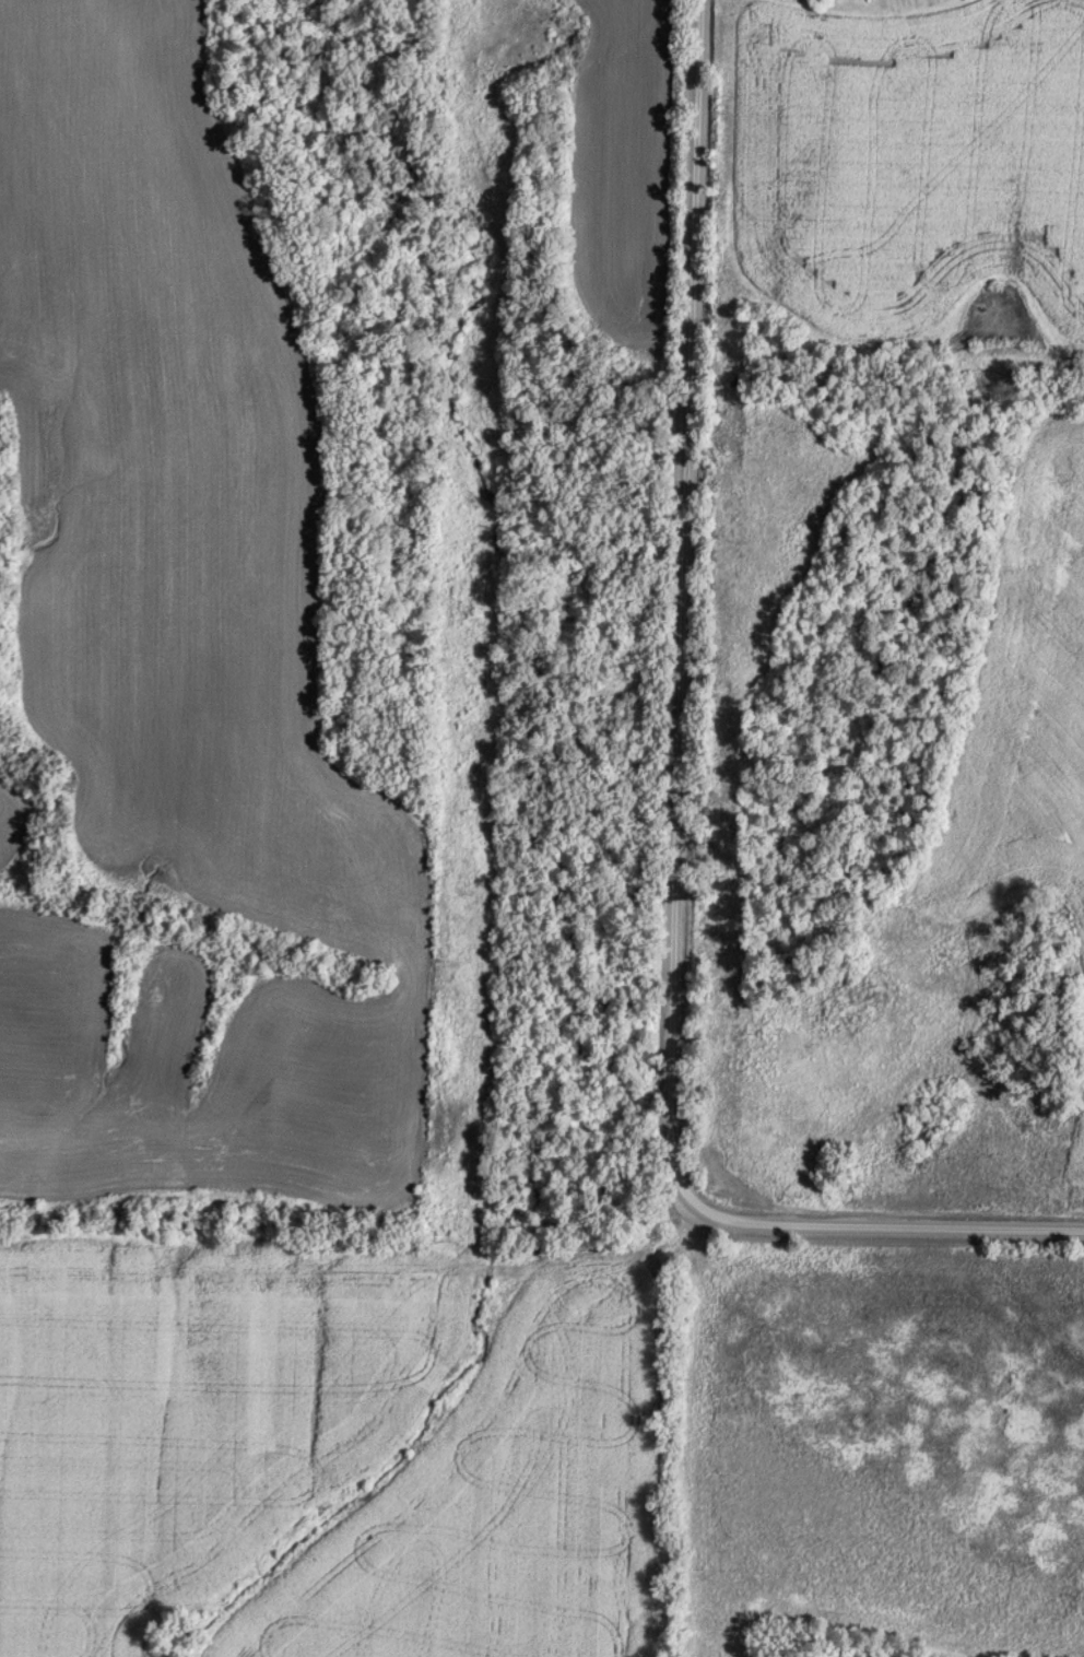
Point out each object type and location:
road: (677, 802)

